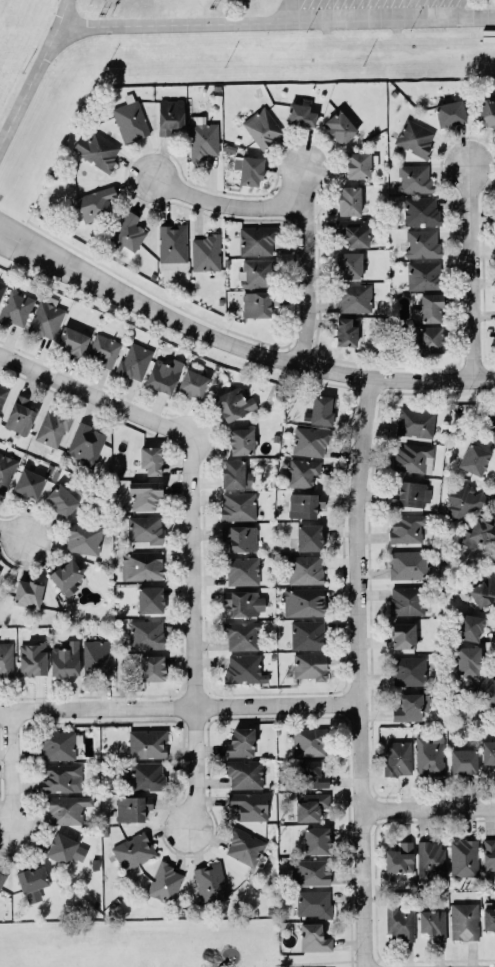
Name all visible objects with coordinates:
road: (282, 11)
road: (279, 21)
road: (38, 77)
building: (450, 113)
building: (486, 113)
building: (300, 114)
building: (170, 115)
building: (130, 121)
building: (340, 126)
building: (262, 127)
building: (203, 137)
building: (415, 137)
building: (97, 150)
building: (360, 164)
building: (249, 169)
building: (414, 178)
road: (226, 193)
building: (349, 200)
building: (421, 210)
building: (353, 231)
building: (127, 233)
building: (257, 239)
road: (42, 240)
building: (172, 242)
building: (422, 242)
road: (315, 250)
building: (205, 252)
road: (40, 257)
building: (348, 264)
road: (472, 269)
building: (255, 271)
building: (423, 274)
building: (2, 286)
building: (354, 296)
building: (257, 302)
building: (430, 306)
building: (15, 307)
building: (45, 317)
building: (345, 330)
building: (429, 337)
building: (72, 339)
building: (102, 349)
road: (280, 356)
building: (134, 359)
building: (163, 373)
building: (192, 382)
building: (2, 392)
road: (95, 393)
building: (233, 402)
building: (321, 408)
building: (19, 414)
building: (415, 421)
building: (53, 427)
building: (492, 432)
building: (240, 440)
building: (309, 440)
building: (85, 443)
building: (412, 456)
building: (474, 457)
building: (149, 459)
building: (6, 470)
building: (302, 472)
building: (234, 473)
building: (28, 482)
building: (144, 493)
building: (410, 493)
building: (62, 497)
building: (462, 498)
building: (304, 503)
building: (237, 504)
building: (408, 527)
building: (144, 528)
road: (12, 532)
building: (480, 532)
building: (239, 536)
building: (309, 536)
building: (83, 538)
building: (407, 563)
building: (140, 564)
building: (0, 568)
building: (305, 568)
building: (242, 569)
road: (193, 570)
building: (65, 575)
building: (483, 591)
building: (27, 592)
building: (149, 598)
building: (406, 599)
building: (242, 601)
building: (303, 601)
building: (468, 626)
building: (146, 633)
building: (307, 633)
building: (240, 634)
building: (402, 634)
building: (97, 656)
building: (6, 658)
building: (32, 658)
building: (64, 658)
building: (467, 660)
building: (308, 664)
building: (151, 666)
building: (243, 667)
building: (407, 669)
road: (360, 670)
building: (486, 689)
road: (180, 704)
building: (410, 705)
building: (309, 740)
building: (240, 741)
building: (147, 742)
building: (59, 744)
building: (488, 752)
building: (429, 753)
building: (397, 756)
building: (462, 760)
road: (194, 766)
road: (10, 769)
building: (243, 773)
building: (310, 773)
building: (143, 775)
building: (60, 776)
building: (248, 804)
building: (309, 805)
building: (131, 806)
road: (427, 807)
building: (65, 808)
building: (316, 839)
building: (243, 845)
building: (64, 847)
building: (132, 850)
building: (488, 853)
building: (399, 856)
building: (464, 856)
building: (431, 858)
building: (308, 870)
building: (2, 877)
building: (32, 881)
building: (210, 881)
building: (163, 883)
building: (313, 902)
building: (488, 917)
building: (399, 920)
building: (464, 920)
building: (432, 923)
building: (314, 936)
park: (203, 950)
park: (61, 951)

